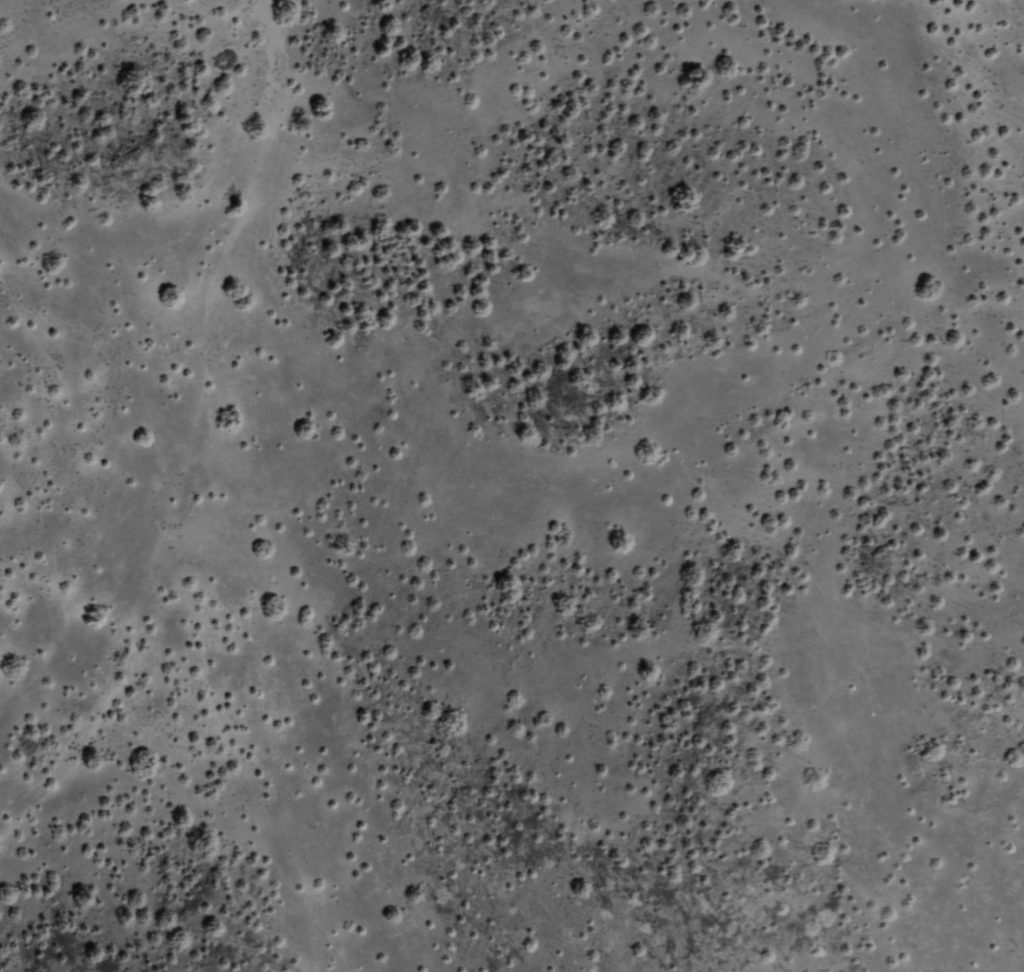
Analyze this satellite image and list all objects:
road: (219, 494)
road: (134, 626)

